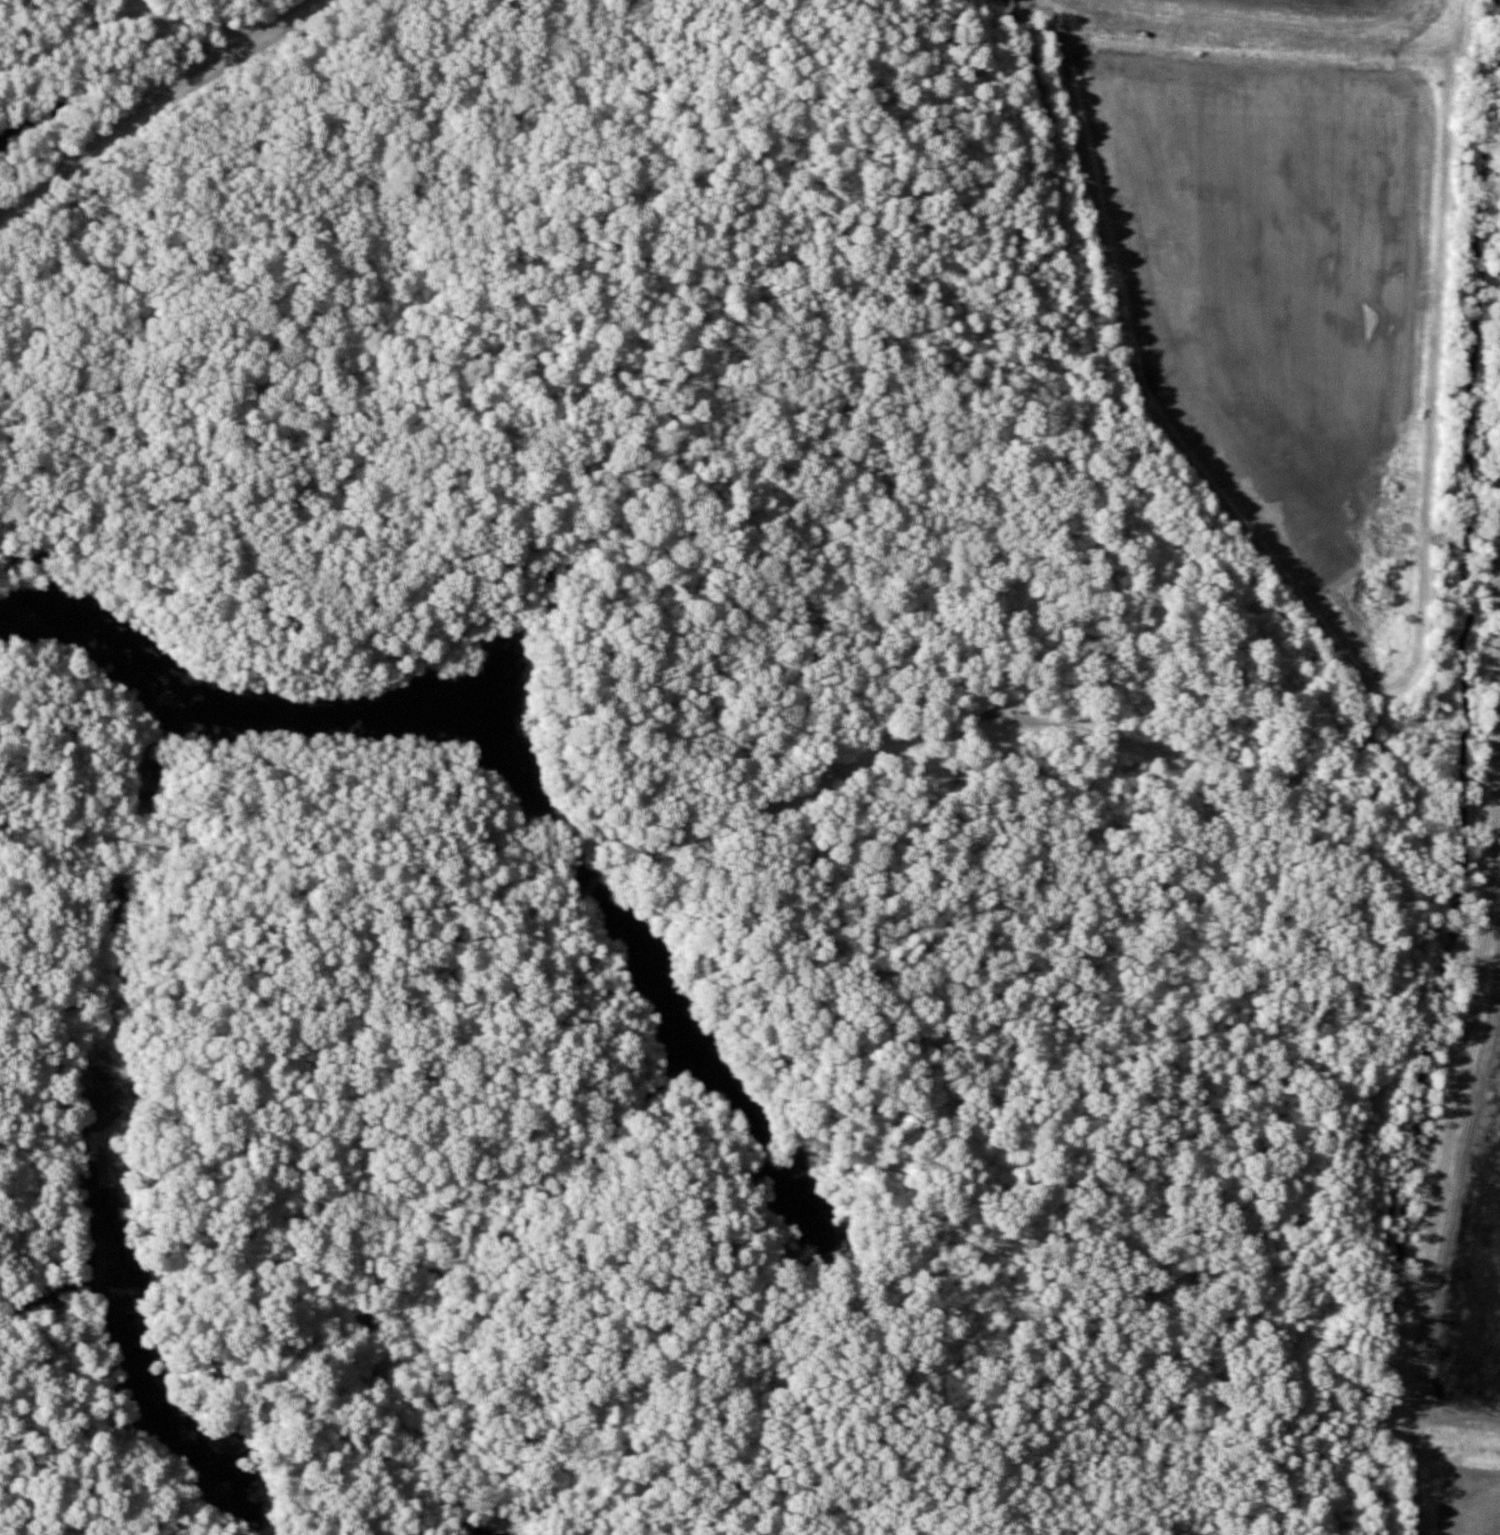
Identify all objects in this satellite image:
road: (153, 102)

